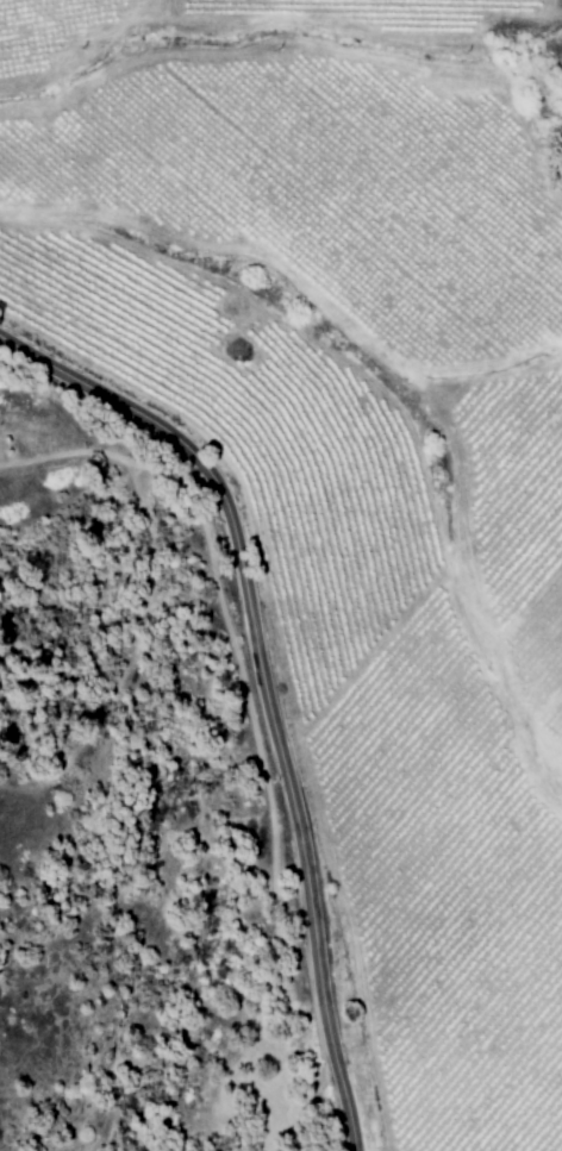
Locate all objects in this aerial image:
road: (263, 684)

